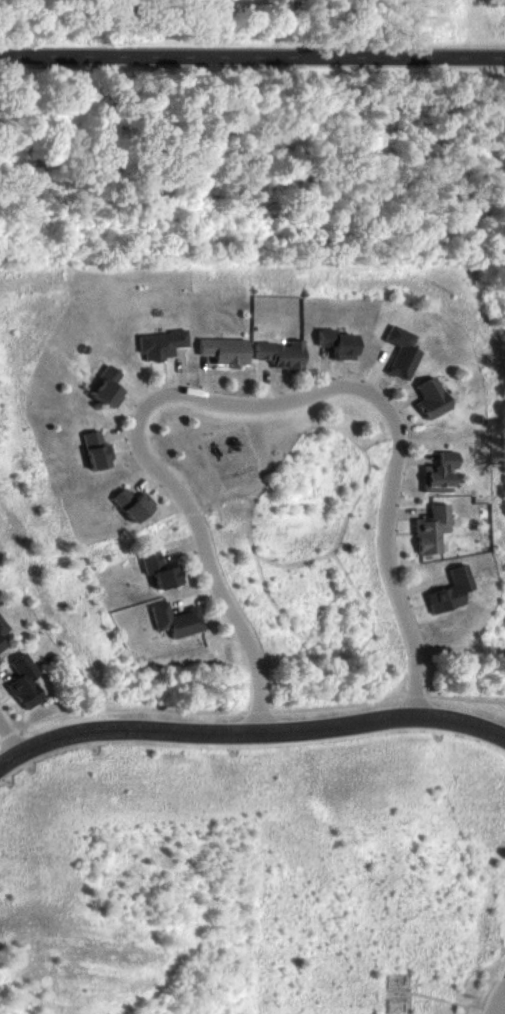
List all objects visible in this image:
park: (253, 28)
road: (252, 57)
building: (159, 345)
building: (337, 345)
building: (221, 350)
building: (278, 354)
building: (399, 354)
building: (104, 387)
building: (428, 399)
road: (246, 406)
building: (91, 450)
building: (436, 474)
building: (125, 504)
building: (429, 529)
building: (158, 572)
building: (448, 591)
building: (174, 620)
building: (2, 628)
building: (1, 646)
building: (23, 682)
road: (250, 734)
road: (8, 738)
road: (501, 997)
road: (501, 1006)
road: (496, 1009)

